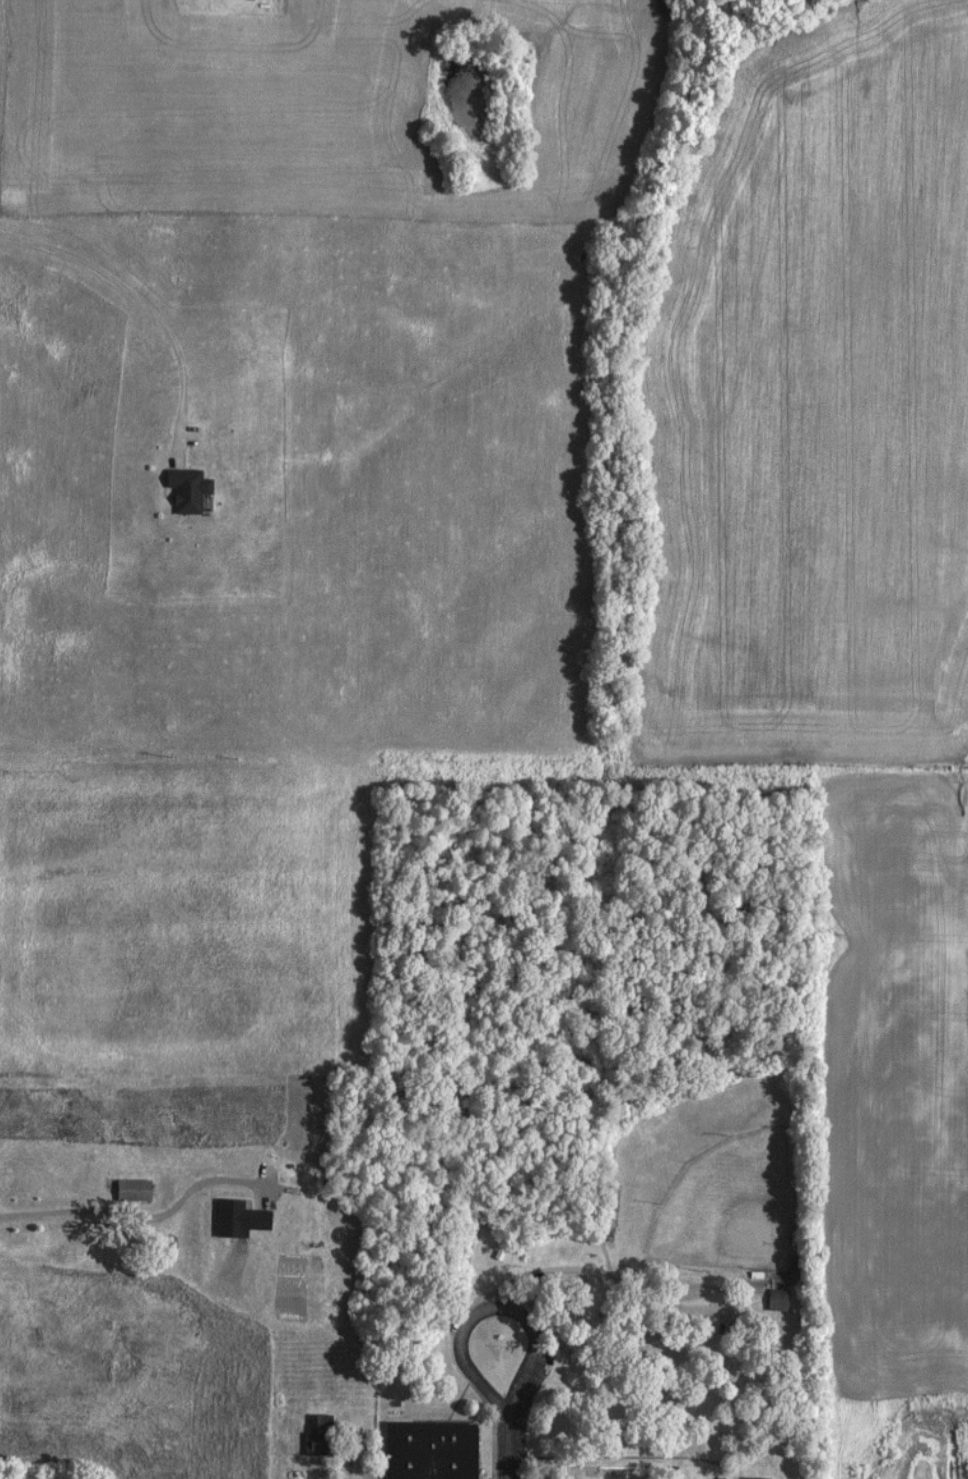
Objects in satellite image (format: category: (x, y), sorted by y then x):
road: (140, 311)
building: (180, 490)
building: (124, 1191)
road: (139, 1217)
road: (527, 1282)
building: (768, 1301)
building: (551, 1358)
building: (311, 1435)
building: (422, 1450)

